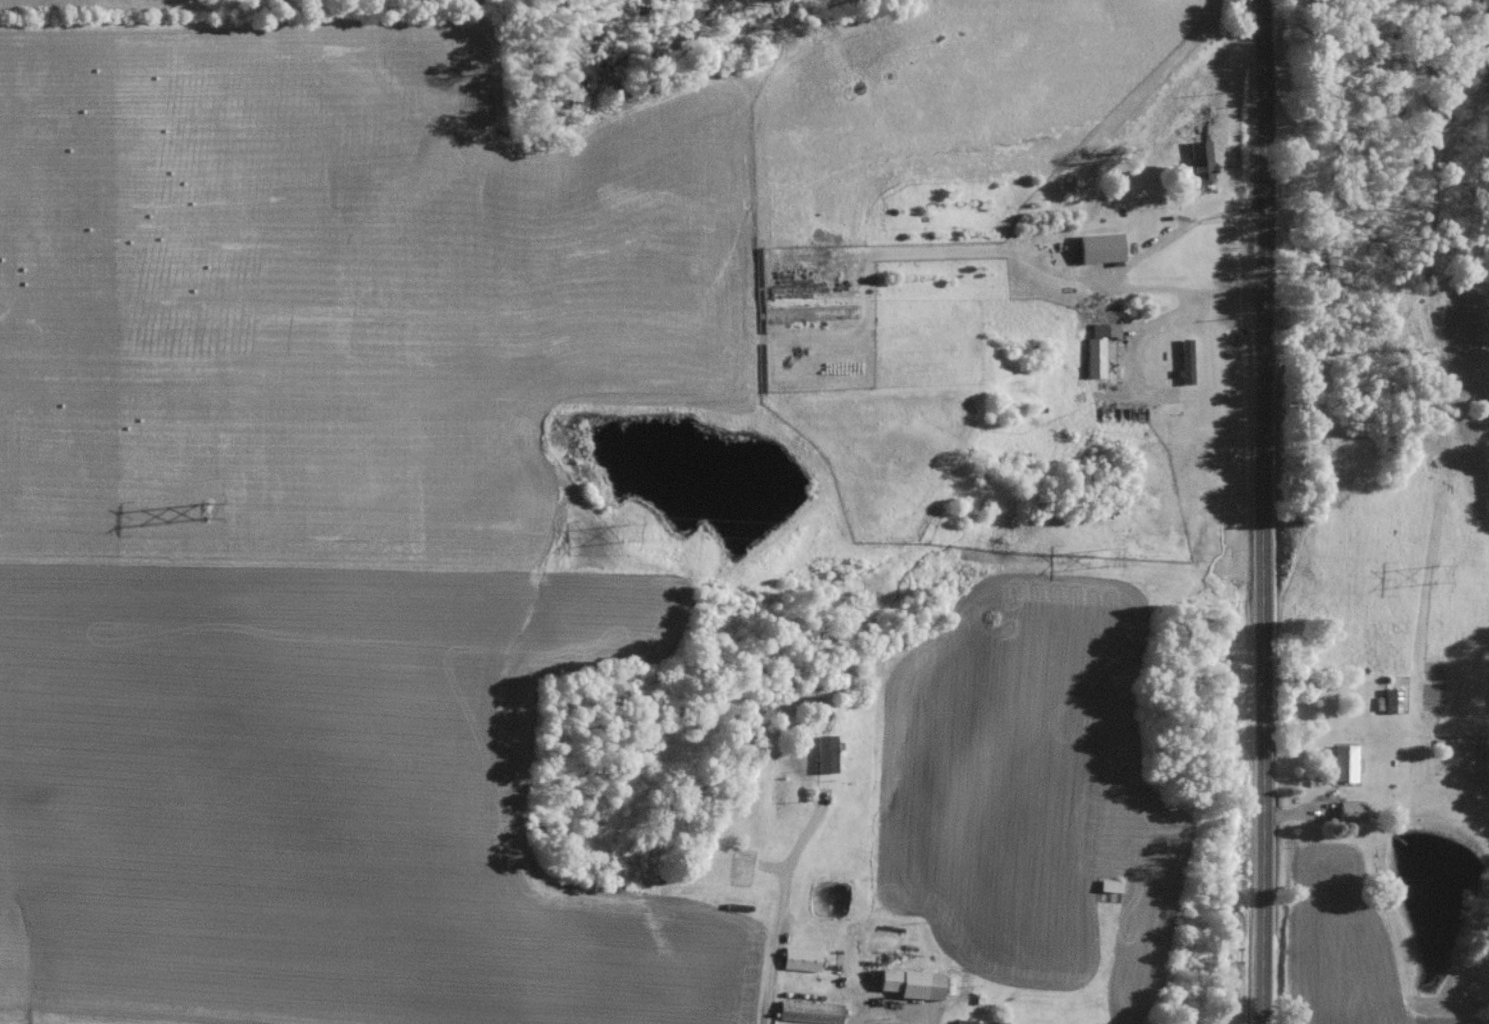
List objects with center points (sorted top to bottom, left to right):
building: (1196, 174)
building: (1095, 251)
road: (1126, 270)
building: (1103, 356)
road: (1263, 511)
power tower: (205, 515)
power tower: (622, 536)
power tower: (1102, 560)
power tower: (1435, 578)
building: (1389, 705)
building: (817, 759)
building: (1340, 768)
building: (1348, 816)
building: (1106, 891)
road: (782, 907)
building: (797, 964)
building: (898, 988)
road: (888, 1013)
building: (804, 1015)

